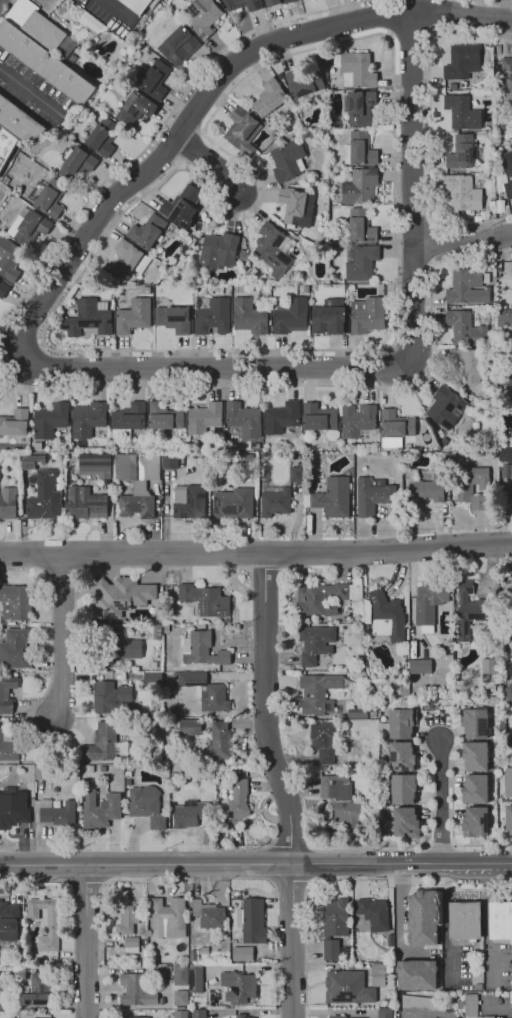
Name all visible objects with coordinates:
road: (500, 1)
building: (271, 3)
building: (243, 4)
building: (136, 5)
road: (118, 9)
building: (201, 16)
building: (89, 21)
road: (410, 30)
road: (430, 30)
road: (389, 35)
road: (388, 38)
building: (178, 46)
building: (42, 49)
building: (462, 63)
building: (355, 69)
building: (504, 79)
building: (155, 80)
building: (304, 84)
road: (29, 91)
road: (208, 93)
building: (269, 98)
building: (244, 105)
building: (361, 107)
building: (136, 108)
building: (462, 113)
building: (18, 121)
road: (428, 124)
road: (161, 125)
building: (243, 131)
road: (202, 133)
building: (101, 137)
building: (6, 145)
road: (189, 147)
building: (359, 149)
building: (463, 152)
building: (287, 161)
road: (209, 162)
building: (76, 163)
road: (180, 164)
building: (508, 175)
building: (359, 187)
road: (411, 187)
building: (317, 188)
building: (463, 193)
building: (50, 197)
building: (499, 206)
building: (181, 207)
building: (296, 207)
building: (507, 210)
building: (477, 219)
road: (432, 225)
building: (29, 227)
building: (359, 227)
building: (147, 232)
road: (462, 242)
road: (430, 244)
building: (273, 249)
building: (218, 251)
building: (243, 255)
building: (9, 259)
building: (128, 260)
building: (360, 262)
road: (431, 263)
building: (511, 270)
building: (191, 273)
building: (468, 287)
building: (3, 289)
building: (146, 290)
building: (228, 292)
building: (367, 315)
building: (133, 316)
building: (291, 316)
building: (212, 317)
building: (248, 317)
building: (503, 317)
building: (88, 318)
building: (173, 319)
building: (328, 320)
building: (466, 328)
road: (32, 349)
road: (399, 356)
building: (469, 364)
road: (211, 369)
building: (506, 374)
road: (307, 385)
building: (445, 408)
building: (164, 417)
building: (281, 418)
building: (88, 419)
building: (128, 419)
building: (320, 419)
building: (50, 420)
building: (205, 420)
building: (244, 420)
building: (357, 420)
building: (15, 423)
building: (396, 424)
building: (392, 443)
building: (453, 444)
building: (36, 447)
building: (505, 454)
building: (182, 457)
building: (32, 461)
building: (169, 461)
building: (95, 465)
building: (506, 471)
building: (296, 475)
building: (137, 483)
building: (472, 485)
building: (511, 488)
building: (428, 490)
building: (373, 495)
building: (45, 498)
building: (331, 498)
building: (274, 499)
building: (189, 502)
building: (8, 503)
building: (86, 504)
building: (232, 506)
road: (256, 553)
building: (121, 597)
building: (325, 597)
building: (17, 600)
building: (205, 600)
building: (511, 600)
building: (429, 603)
building: (470, 610)
building: (367, 615)
building: (157, 617)
building: (387, 617)
building: (165, 629)
building: (157, 631)
road: (63, 636)
building: (315, 643)
building: (456, 646)
building: (113, 648)
building: (15, 649)
building: (202, 650)
building: (446, 661)
building: (419, 666)
building: (509, 668)
building: (489, 671)
building: (152, 679)
building: (205, 691)
building: (508, 692)
building: (318, 693)
building: (6, 694)
building: (109, 696)
building: (123, 709)
road: (264, 710)
building: (357, 714)
building: (372, 714)
building: (402, 723)
building: (474, 723)
building: (190, 727)
building: (324, 741)
building: (105, 742)
building: (217, 743)
building: (8, 746)
building: (475, 756)
building: (401, 757)
building: (134, 759)
building: (75, 768)
building: (89, 769)
building: (102, 769)
building: (44, 772)
building: (127, 774)
building: (173, 775)
building: (128, 782)
building: (509, 782)
building: (404, 788)
road: (452, 788)
building: (475, 789)
building: (340, 799)
road: (429, 800)
road: (442, 803)
building: (235, 804)
building: (147, 806)
building: (78, 807)
building: (99, 809)
building: (13, 810)
building: (58, 813)
building: (190, 813)
building: (509, 819)
building: (406, 822)
building: (475, 822)
road: (404, 845)
road: (344, 863)
road: (146, 864)
road: (454, 864)
road: (31, 882)
road: (13, 884)
road: (453, 889)
building: (374, 913)
building: (209, 914)
building: (168, 918)
building: (421, 918)
building: (126, 920)
building: (8, 921)
building: (252, 921)
building: (465, 921)
building: (500, 921)
road: (443, 923)
road: (397, 924)
building: (52, 925)
building: (334, 928)
building: (21, 931)
road: (293, 940)
road: (86, 941)
building: (131, 944)
building: (203, 950)
building: (242, 954)
road: (315, 966)
building: (21, 974)
building: (379, 974)
building: (416, 974)
building: (181, 975)
building: (195, 978)
road: (305, 979)
building: (239, 986)
building: (347, 987)
building: (478, 987)
building: (38, 990)
building: (137, 990)
building: (181, 997)
building: (3, 1001)
building: (423, 1004)
building: (459, 1005)
building: (471, 1005)
building: (198, 1013)
building: (385, 1013)
building: (179, 1014)
road: (432, 1015)
building: (242, 1016)
building: (39, 1017)
building: (136, 1017)
building: (337, 1017)
building: (488, 1017)

